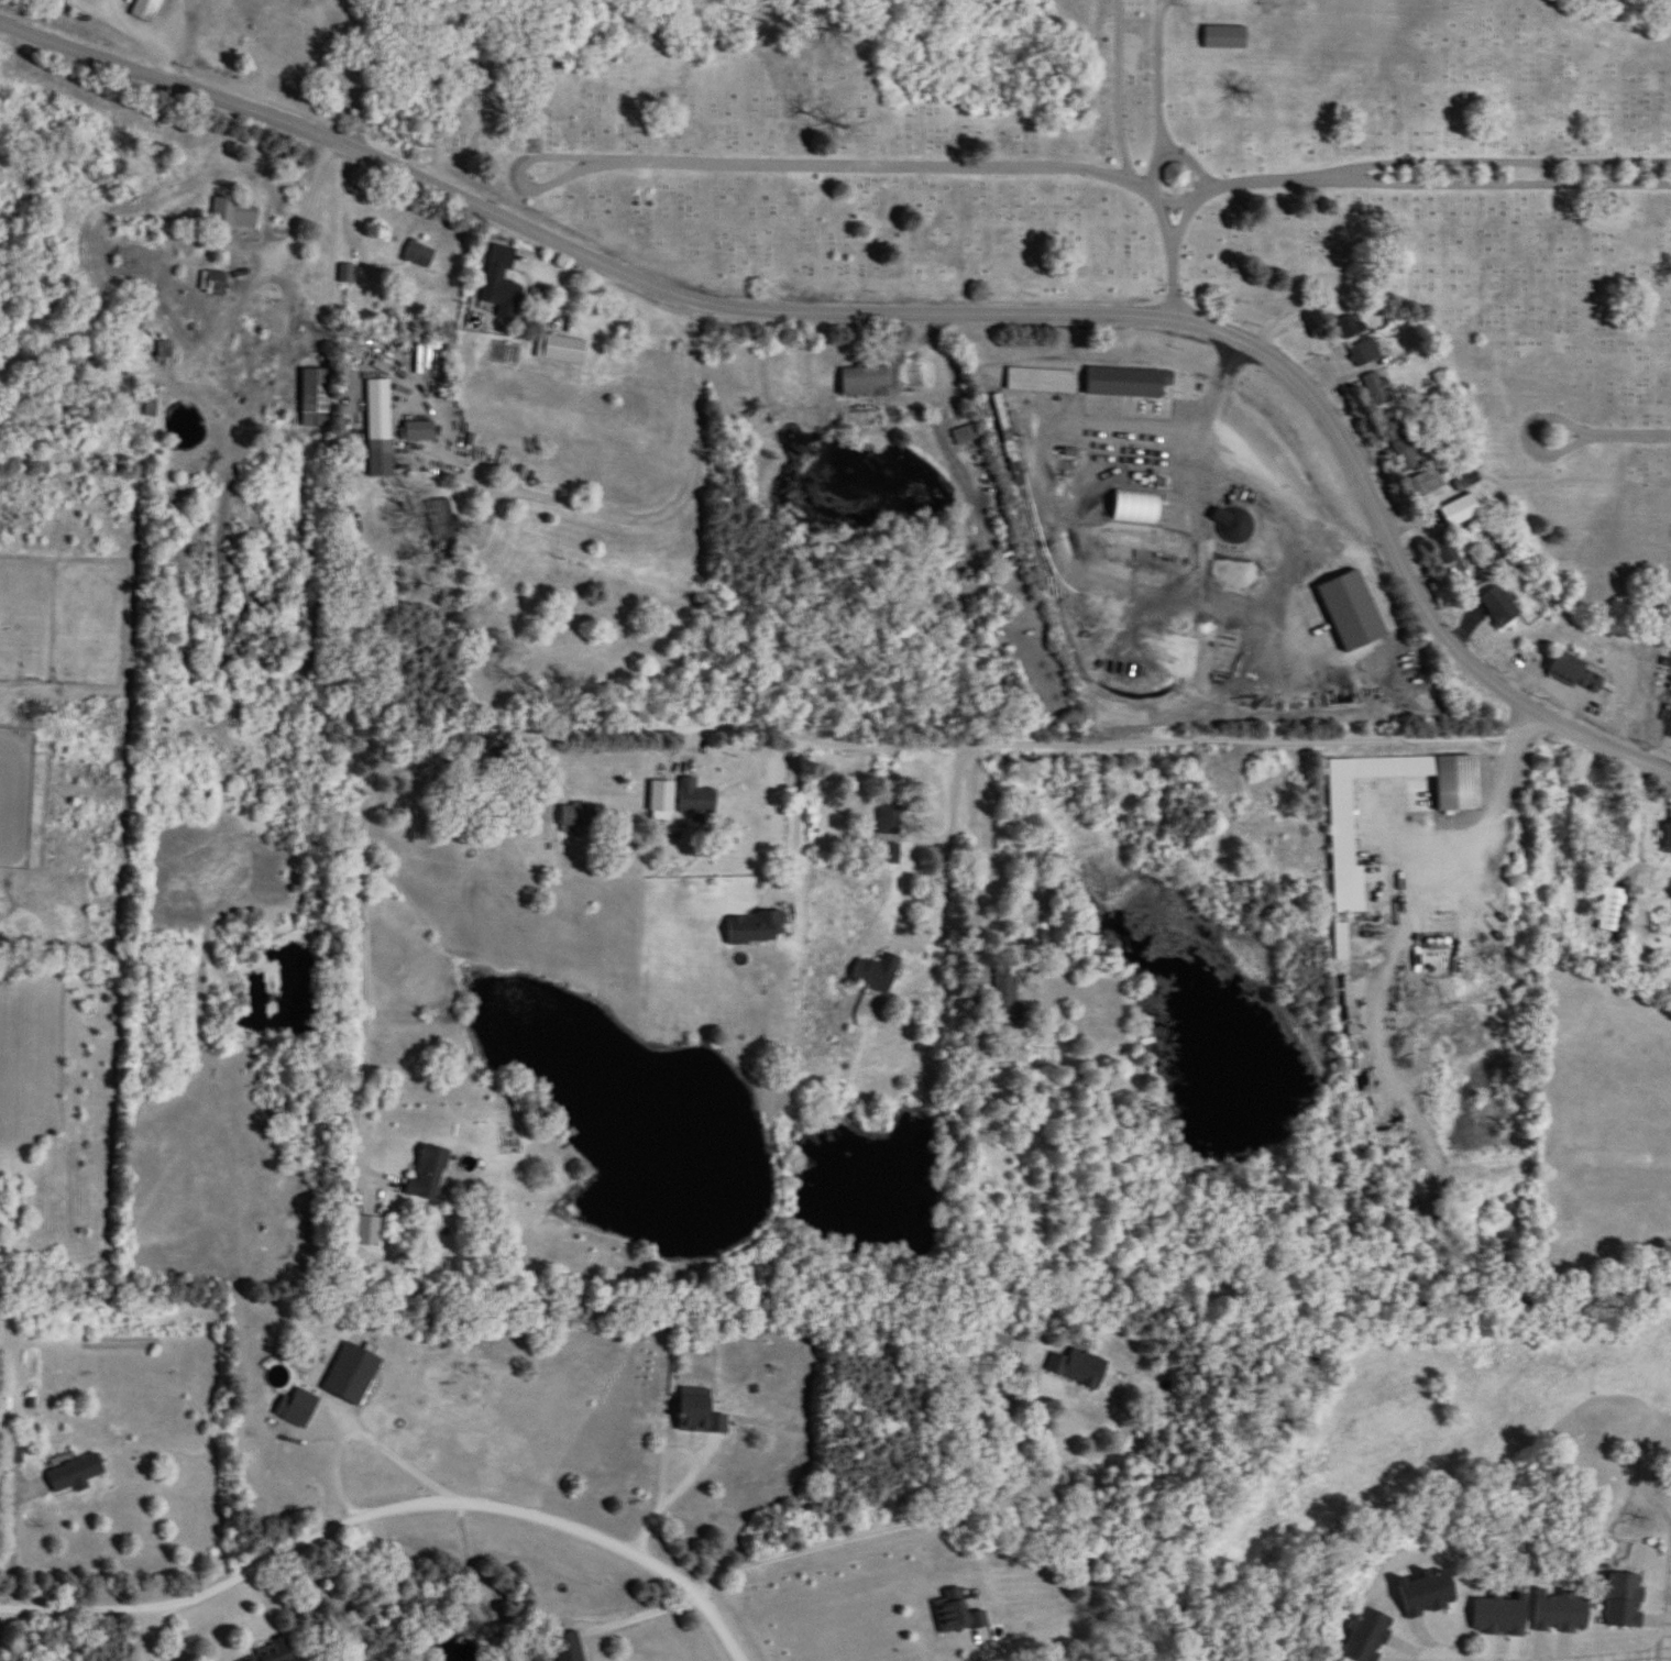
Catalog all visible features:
road: (98, 3)
road: (89, 4)
building: (145, 9)
road: (149, 31)
building: (1224, 37)
road: (1159, 64)
road: (1120, 81)
road: (1167, 130)
road: (946, 152)
road: (519, 164)
road: (1407, 169)
building: (1177, 175)
park: (1156, 190)
road: (343, 202)
building: (233, 213)
road: (288, 243)
building: (419, 254)
building: (217, 282)
building: (501, 282)
road: (569, 285)
road: (912, 311)
building: (1351, 327)
road: (215, 328)
building: (567, 349)
building: (1365, 353)
building: (865, 380)
building: (1043, 380)
building: (1129, 382)
road: (944, 389)
building: (1378, 389)
building: (316, 397)
building: (152, 400)
road: (1553, 406)
building: (1394, 421)
road: (1629, 422)
building: (380, 428)
building: (420, 431)
building: (1408, 454)
road: (1276, 475)
building: (1425, 484)
road: (649, 509)
building: (1462, 510)
building: (1234, 525)
building: (442, 527)
building: (1449, 552)
building: (1499, 606)
building: (1579, 673)
road: (692, 717)
road: (1257, 729)
building: (507, 759)
building: (696, 798)
road: (795, 803)
road: (1646, 811)
building: (1261, 815)
building: (890, 817)
building: (575, 818)
building: (1343, 838)
building: (1669, 838)
road: (944, 871)
road: (1415, 890)
building: (1613, 910)
building: (756, 928)
road: (372, 932)
building: (876, 974)
building: (1007, 1001)
building: (428, 1173)
building: (997, 1341)
building: (1081, 1368)
building: (277, 1374)
building: (351, 1375)
road: (393, 1448)
building: (14, 1455)
building: (75, 1474)
road: (664, 1494)
road: (394, 1505)
road: (859, 1536)
road: (13, 1541)
building: (1426, 1595)
building: (1625, 1602)
building: (1561, 1614)
building: (1500, 1617)
road: (1191, 1630)
road: (140, 1632)
building: (1365, 1636)
building: (569, 1647)
building: (274, 1654)
road: (993, 1656)
road: (1613, 1658)
road: (1670, 1658)

